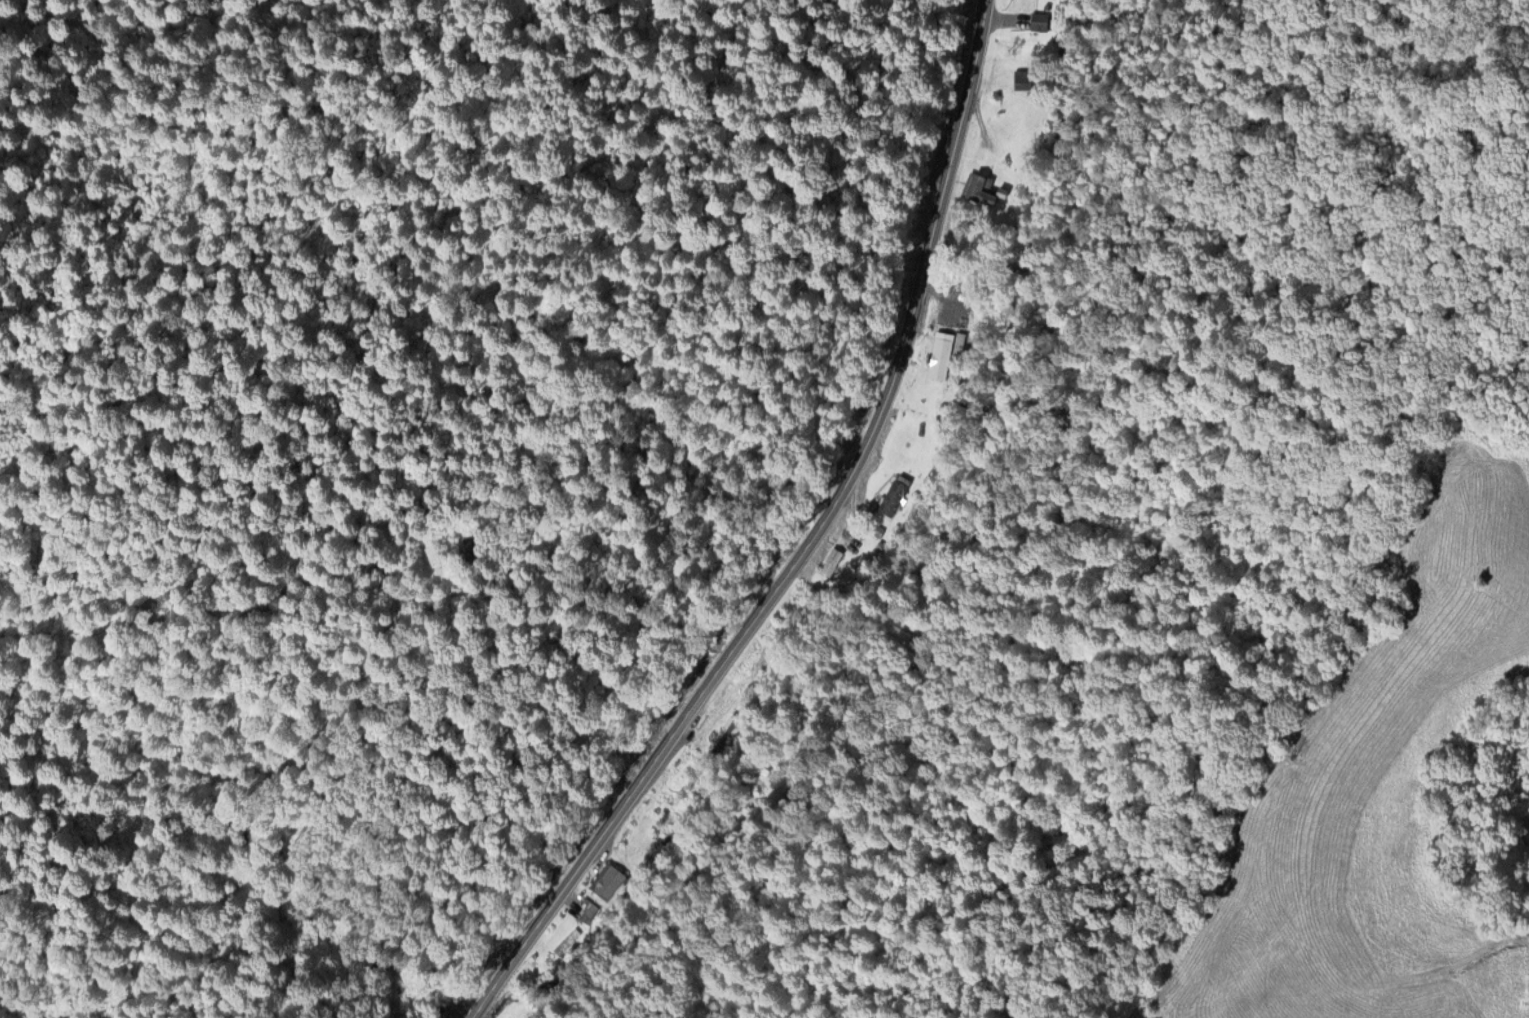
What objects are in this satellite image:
building: (1039, 18)
building: (1023, 77)
building: (977, 188)
building: (1004, 188)
building: (945, 353)
building: (894, 493)
road: (805, 541)
building: (834, 554)
building: (723, 731)
building: (607, 879)
road: (1408, 975)
parking lot: (460, 1004)

